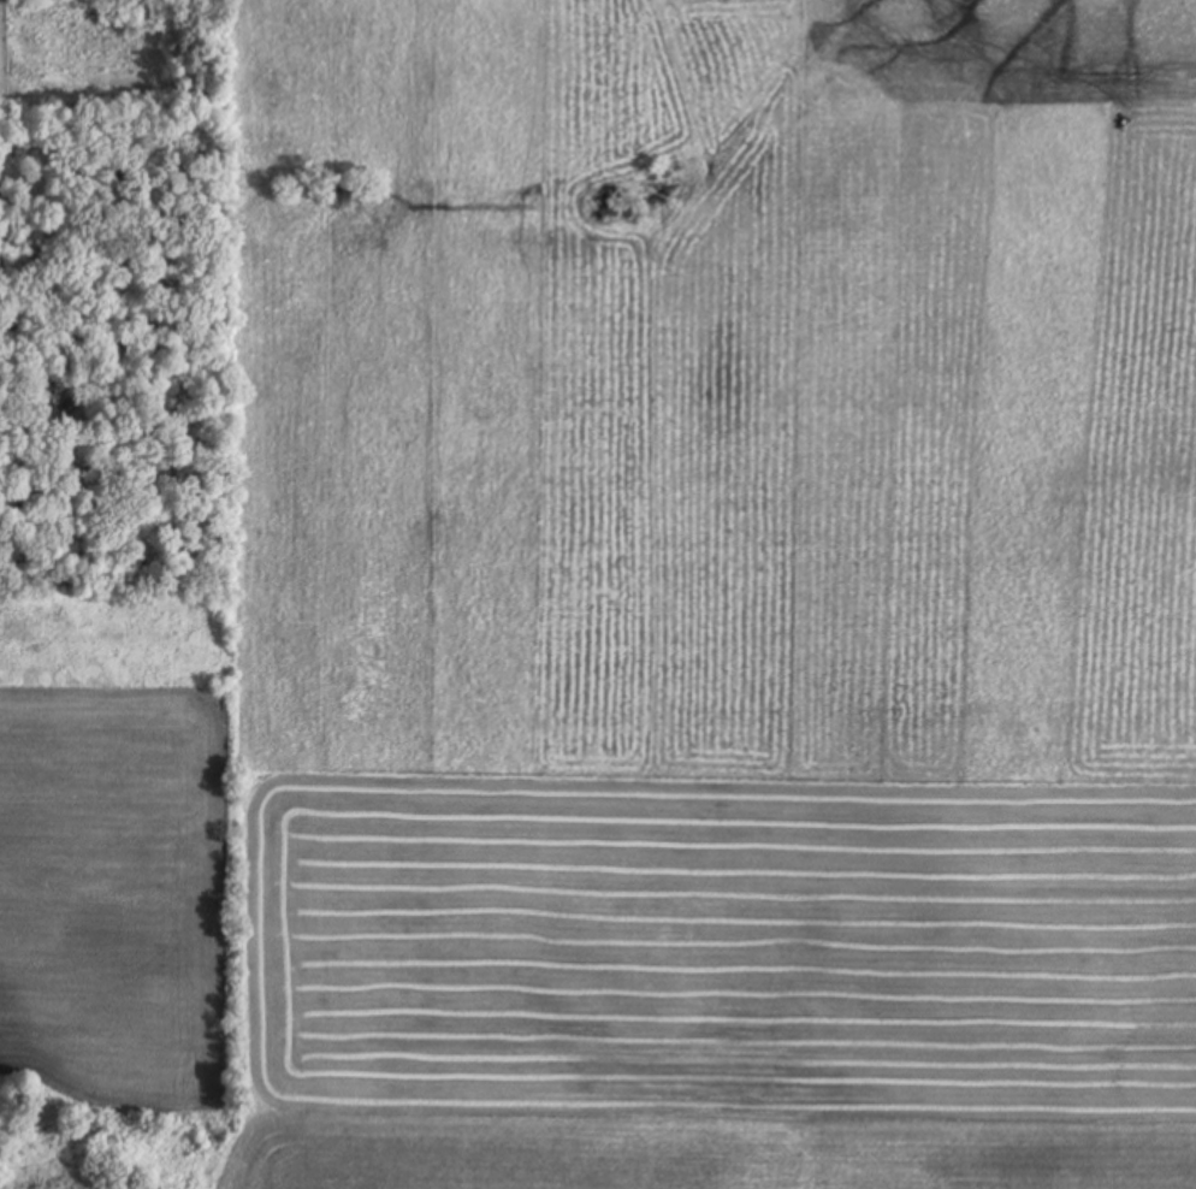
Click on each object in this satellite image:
crop: (664, 619)

